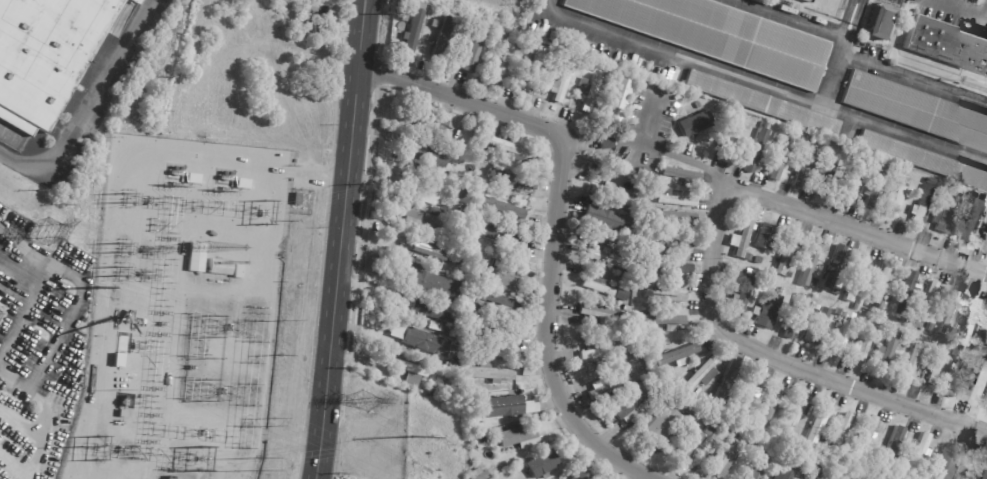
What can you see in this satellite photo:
building: (807, 1)
road: (961, 6)
road: (986, 10)
road: (789, 18)
road: (845, 18)
road: (856, 19)
building: (882, 23)
building: (412, 30)
building: (720, 35)
building: (441, 37)
building: (500, 37)
building: (524, 44)
building: (947, 44)
building: (426, 50)
building: (473, 51)
building: (539, 52)
building: (48, 55)
building: (558, 61)
building: (503, 62)
building: (528, 66)
building: (581, 66)
road: (719, 69)
building: (615, 72)
road: (914, 80)
building: (562, 81)
building: (587, 92)
building: (621, 94)
building: (764, 104)
building: (698, 105)
road: (90, 107)
building: (556, 107)
building: (916, 110)
building: (696, 125)
building: (433, 128)
road: (906, 135)
building: (776, 136)
building: (731, 138)
building: (608, 142)
building: (507, 147)
building: (756, 151)
building: (428, 153)
building: (454, 155)
building: (778, 159)
building: (924, 159)
building: (856, 165)
building: (803, 167)
building: (644, 170)
building: (830, 170)
building: (874, 170)
building: (895, 170)
building: (682, 174)
building: (865, 176)
building: (410, 177)
building: (662, 178)
building: (638, 179)
building: (510, 180)
building: (932, 181)
building: (851, 185)
building: (875, 187)
building: (657, 190)
building: (945, 192)
building: (821, 193)
building: (437, 194)
building: (611, 195)
power tower: (122, 197)
building: (896, 197)
building: (674, 198)
building: (297, 199)
building: (972, 200)
building: (923, 205)
building: (504, 208)
building: (436, 210)
building: (465, 210)
power tower: (262, 211)
building: (486, 214)
building: (673, 216)
building: (535, 220)
building: (946, 220)
building: (419, 222)
road: (560, 222)
building: (603, 222)
building: (972, 222)
power tower: (48, 229)
building: (743, 236)
building: (766, 236)
building: (501, 238)
road: (341, 239)
road: (28, 241)
building: (672, 241)
power tower: (118, 245)
building: (430, 247)
building: (986, 248)
building: (656, 249)
building: (786, 253)
building: (454, 255)
building: (197, 256)
building: (608, 258)
building: (758, 259)
building: (811, 262)
road: (713, 264)
building: (220, 266)
building: (835, 266)
building: (670, 267)
power tower: (117, 270)
building: (237, 270)
building: (789, 274)
building: (654, 276)
building: (629, 277)
building: (502, 279)
building: (856, 279)
building: (428, 282)
building: (599, 285)
building: (881, 285)
power tower: (98, 288)
building: (837, 291)
building: (906, 292)
building: (622, 294)
building: (742, 295)
building: (667, 297)
building: (931, 297)
building: (498, 302)
building: (653, 305)
building: (856, 306)
building: (474, 307)
building: (816, 307)
road: (26, 308)
building: (769, 309)
building: (952, 310)
power substation: (182, 311)
building: (840, 311)
building: (433, 312)
building: (602, 312)
building: (796, 316)
building: (907, 318)
building: (921, 319)
building: (663, 320)
building: (975, 320)
power tower: (280, 321)
building: (468, 322)
building: (435, 325)
building: (818, 327)
building: (929, 327)
building: (887, 329)
road: (58, 333)
building: (495, 334)
building: (842, 334)
building: (911, 336)
building: (425, 341)
building: (986, 343)
building: (864, 344)
building: (937, 345)
building: (635, 348)
building: (598, 350)
building: (887, 350)
building: (468, 352)
building: (132, 355)
building: (679, 355)
building: (467, 360)
building: (911, 361)
building: (600, 363)
building: (455, 366)
building: (462, 369)
building: (528, 369)
building: (935, 371)
building: (412, 372)
building: (490, 372)
building: (703, 374)
building: (957, 374)
building: (728, 381)
building: (127, 384)
building: (462, 384)
building: (608, 388)
building: (981, 389)
building: (433, 390)
building: (656, 394)
building: (749, 398)
power tower: (367, 402)
building: (775, 403)
building: (629, 404)
building: (508, 406)
building: (798, 409)
building: (986, 409)
building: (691, 411)
building: (121, 413)
building: (750, 413)
building: (700, 416)
power tower: (271, 421)
building: (820, 422)
building: (665, 424)
building: (481, 425)
building: (766, 425)
building: (713, 427)
building: (691, 430)
building: (842, 431)
building: (524, 433)
building: (868, 436)
power tower: (411, 437)
building: (495, 441)
building: (706, 442)
building: (692, 445)
building: (822, 445)
power tower: (80, 446)
building: (893, 447)
building: (770, 448)
building: (919, 453)
building: (727, 457)
building: (946, 462)
power tower: (255, 464)
building: (857, 464)
building: (967, 464)
building: (536, 466)
building: (762, 466)
building: (471, 468)
building: (794, 468)
building: (821, 471)
building: (690, 473)
building: (857, 473)
building: (482, 475)
building: (579, 475)
building: (985, 476)
building: (804, 478)
building: (806, 478)
building: (847, 478)
building: (851, 478)
building: (882, 478)

